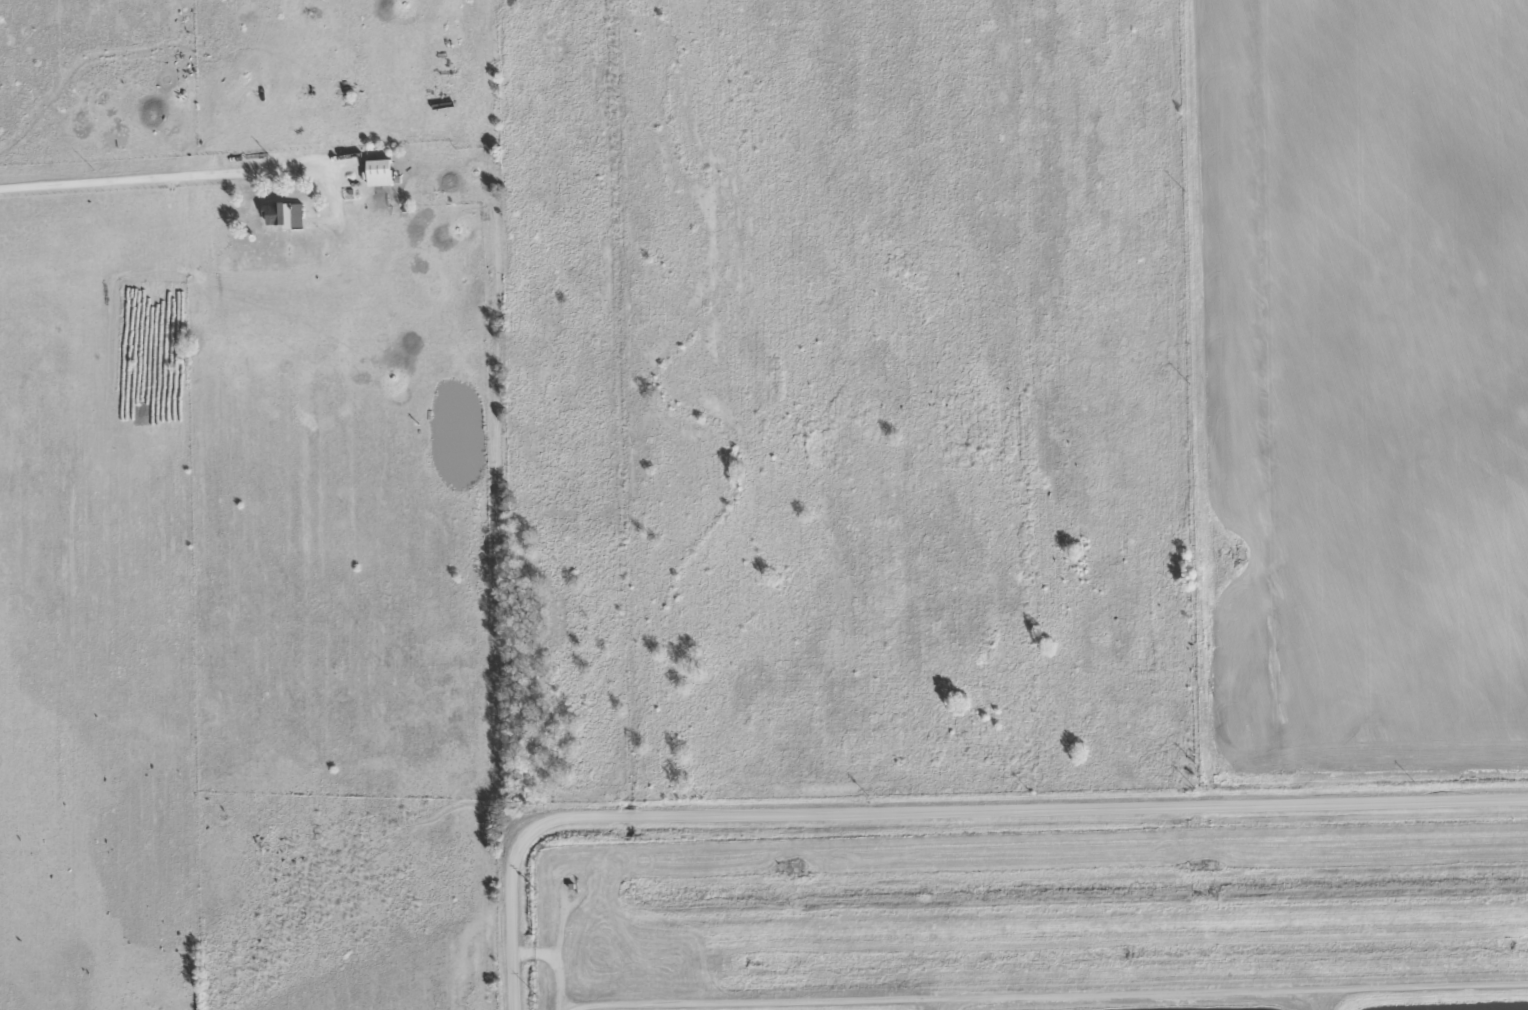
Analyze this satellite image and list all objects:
building: (387, 172)
road: (163, 176)
building: (287, 216)
road: (933, 806)

